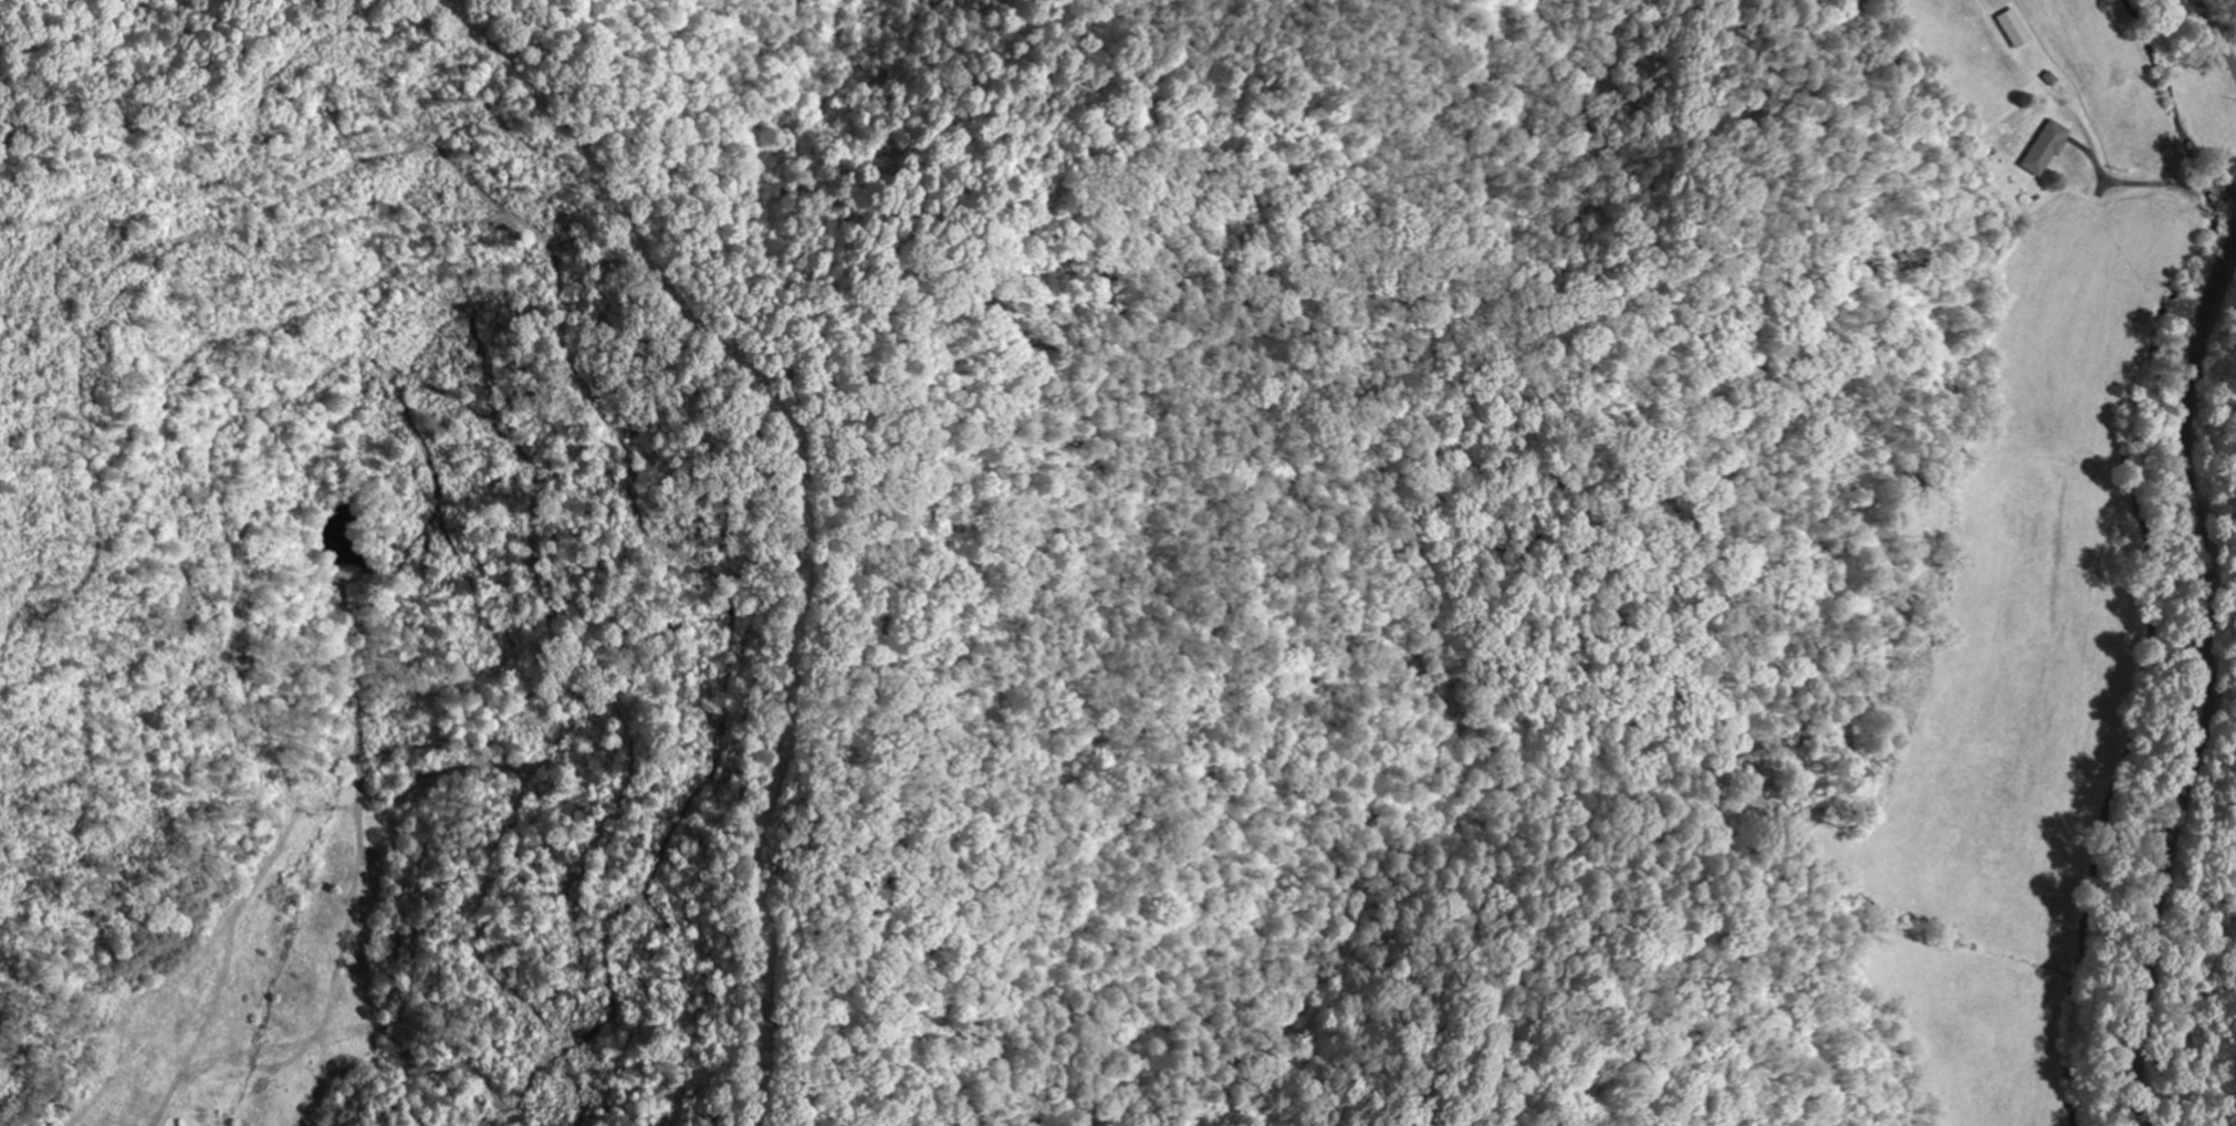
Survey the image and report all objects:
building: (2018, 27)
road: (2216, 33)
building: (2056, 139)
road: (2206, 657)

